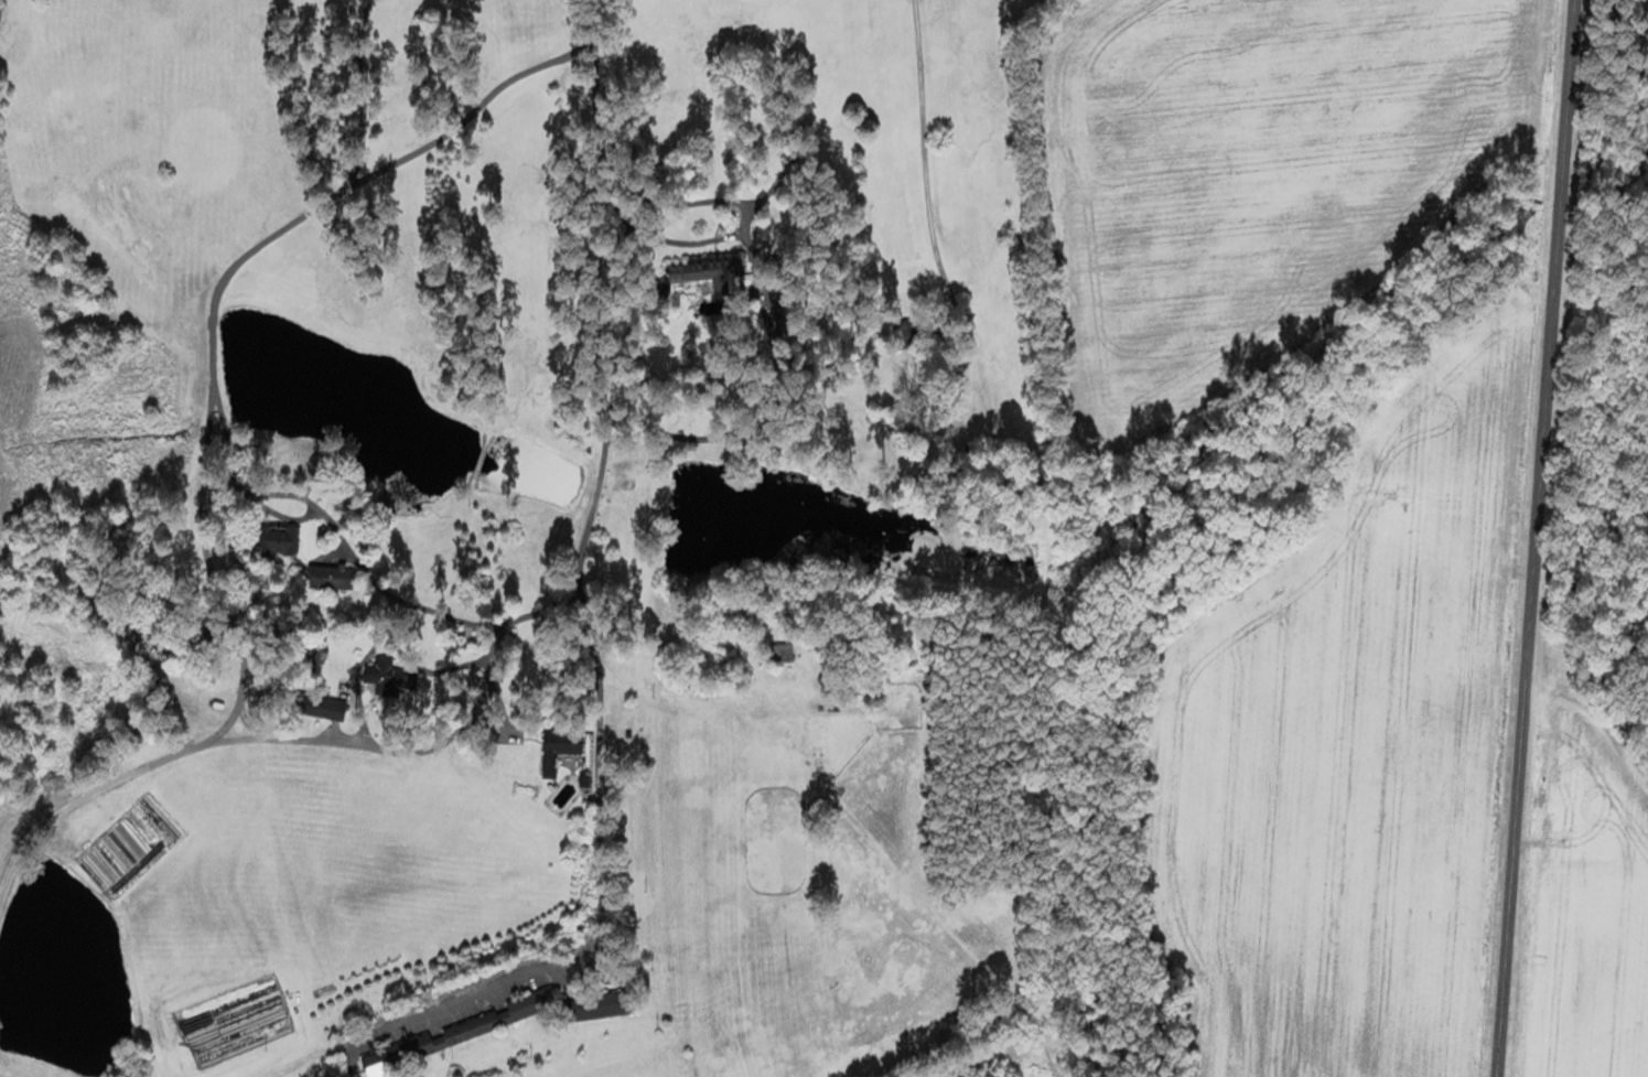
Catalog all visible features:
road: (931, 114)
building: (713, 272)
road: (184, 311)
road: (1542, 538)
building: (280, 540)
building: (333, 574)
road: (590, 613)
road: (389, 623)
building: (381, 671)
building: (864, 690)
building: (561, 745)
road: (411, 809)
road: (56, 833)
building: (601, 1004)
building: (463, 1030)

